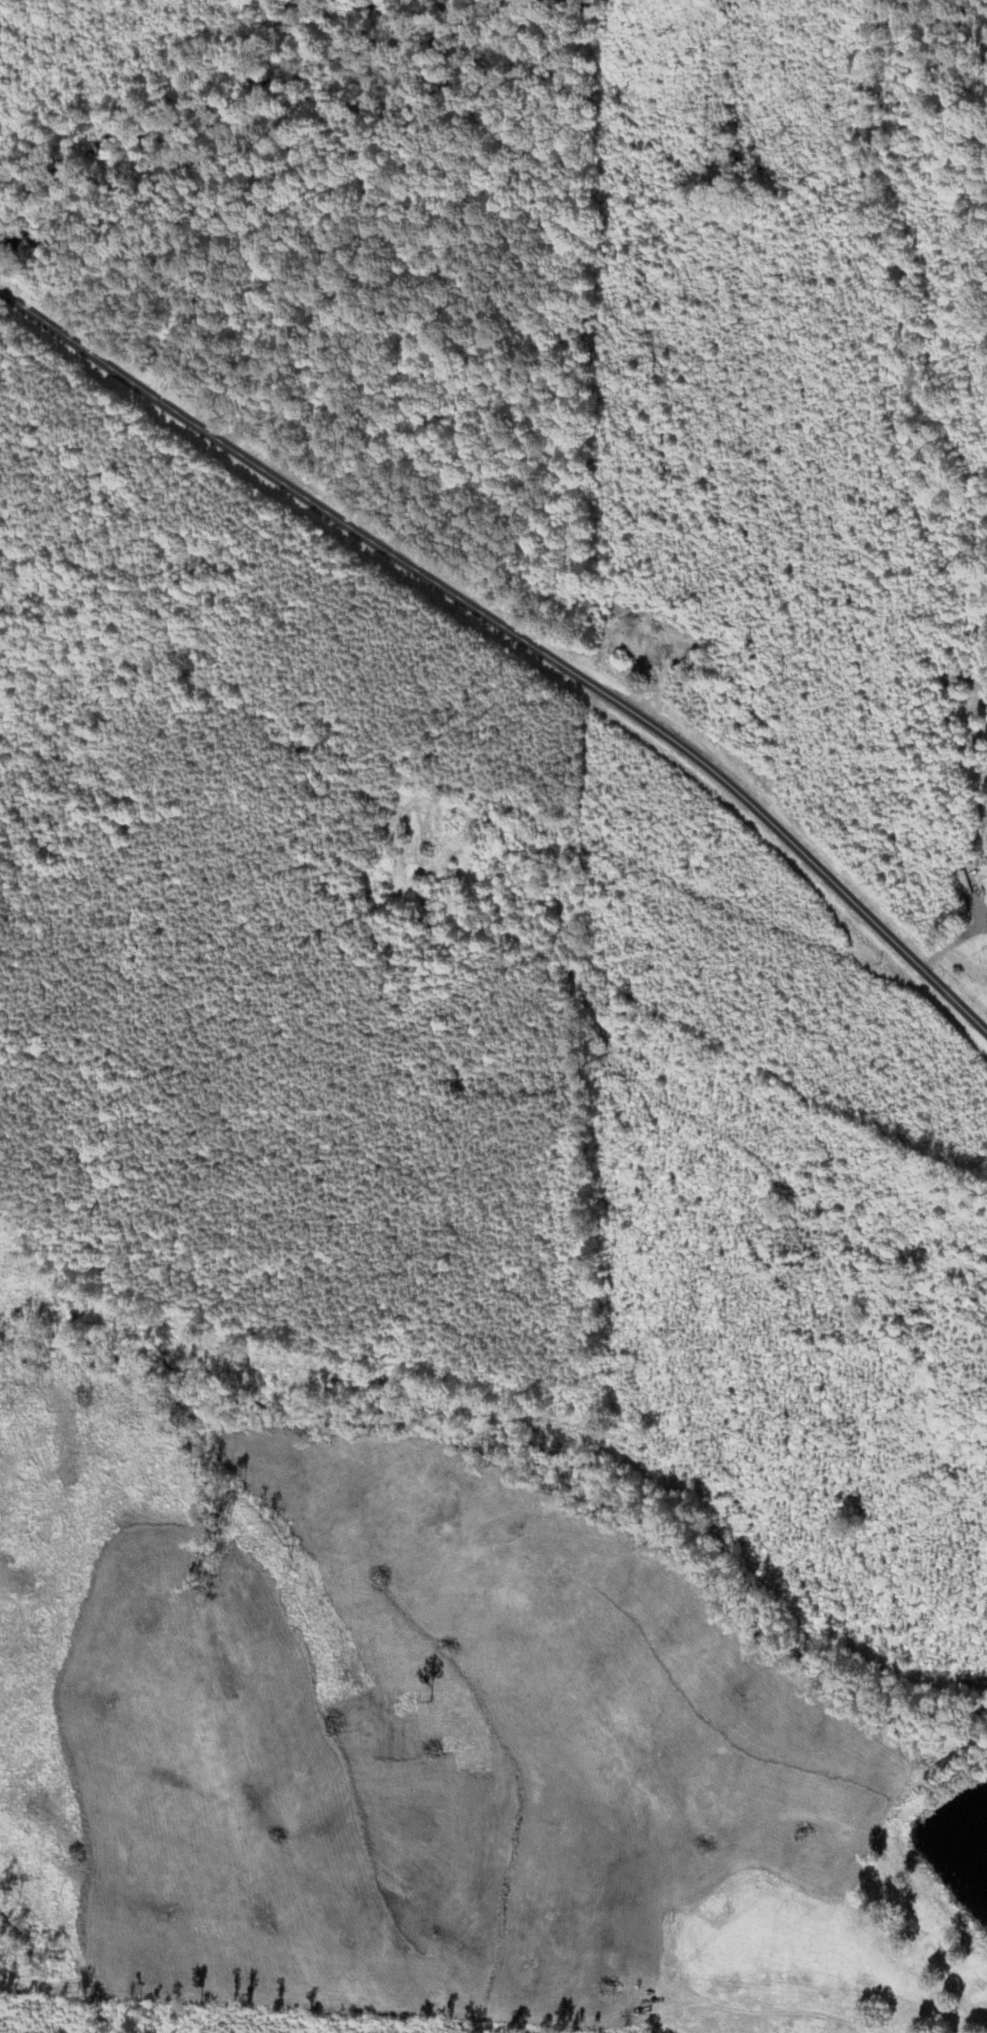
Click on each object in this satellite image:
building: (604, 613)
road: (516, 629)
building: (657, 652)
building: (984, 937)
road: (955, 945)
building: (799, 1260)

